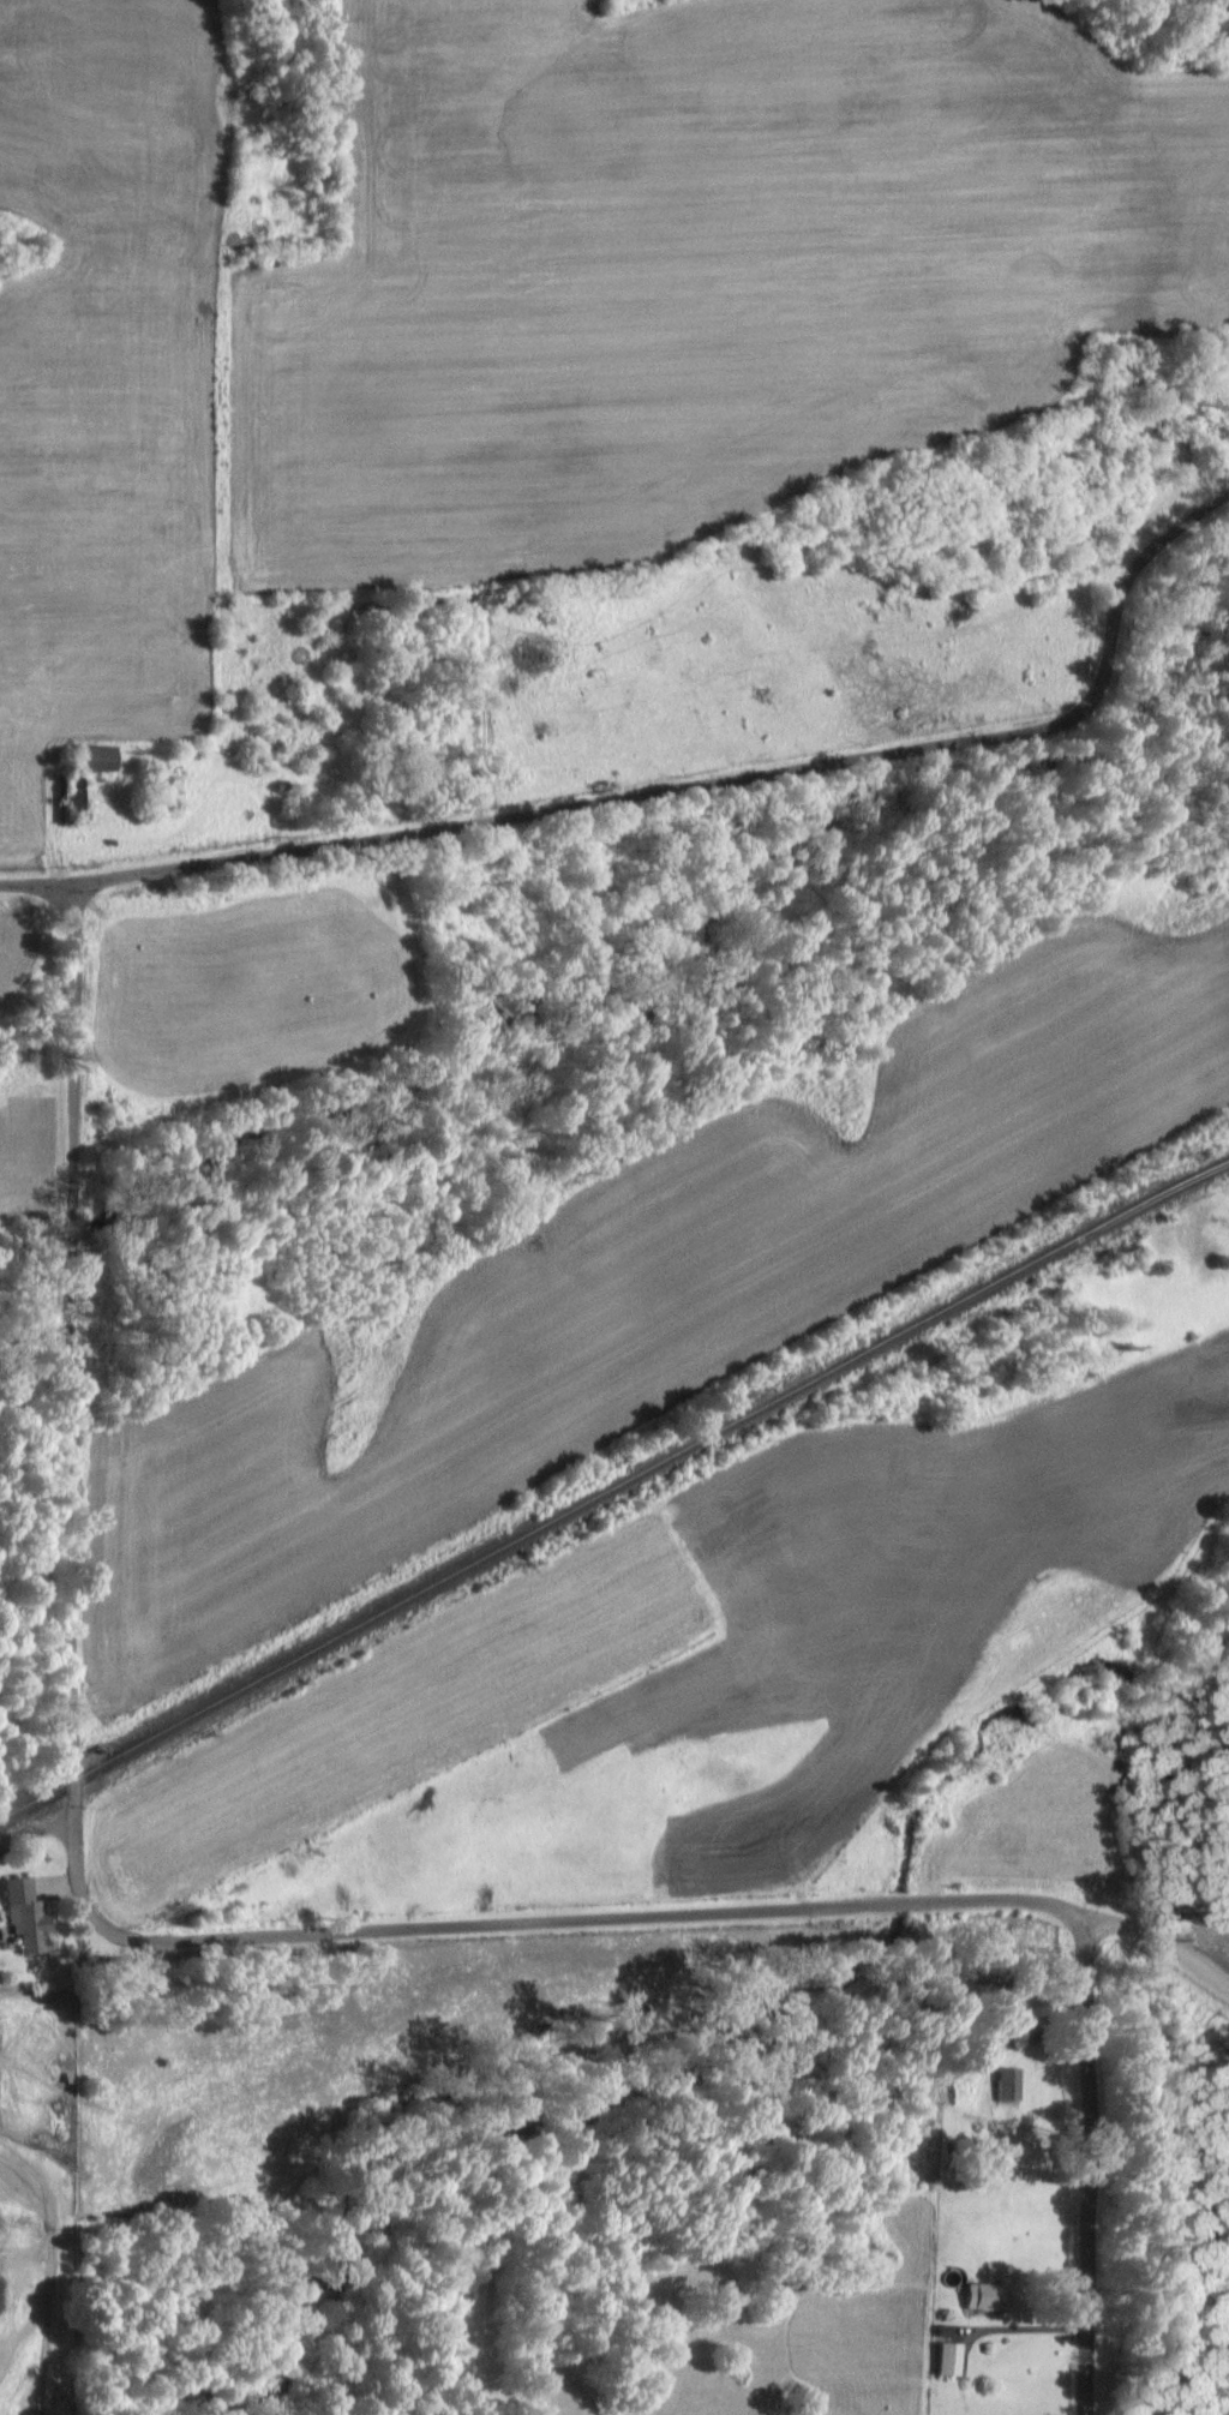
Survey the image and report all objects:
building: (101, 760)
road: (717, 780)
road: (36, 883)
road: (73, 1403)
railway: (613, 1488)
road: (36, 1829)
building: (28, 1917)
road: (589, 1918)
road: (1158, 1942)
building: (1011, 2084)
road: (1095, 2165)
building: (988, 2297)
building: (951, 2355)

